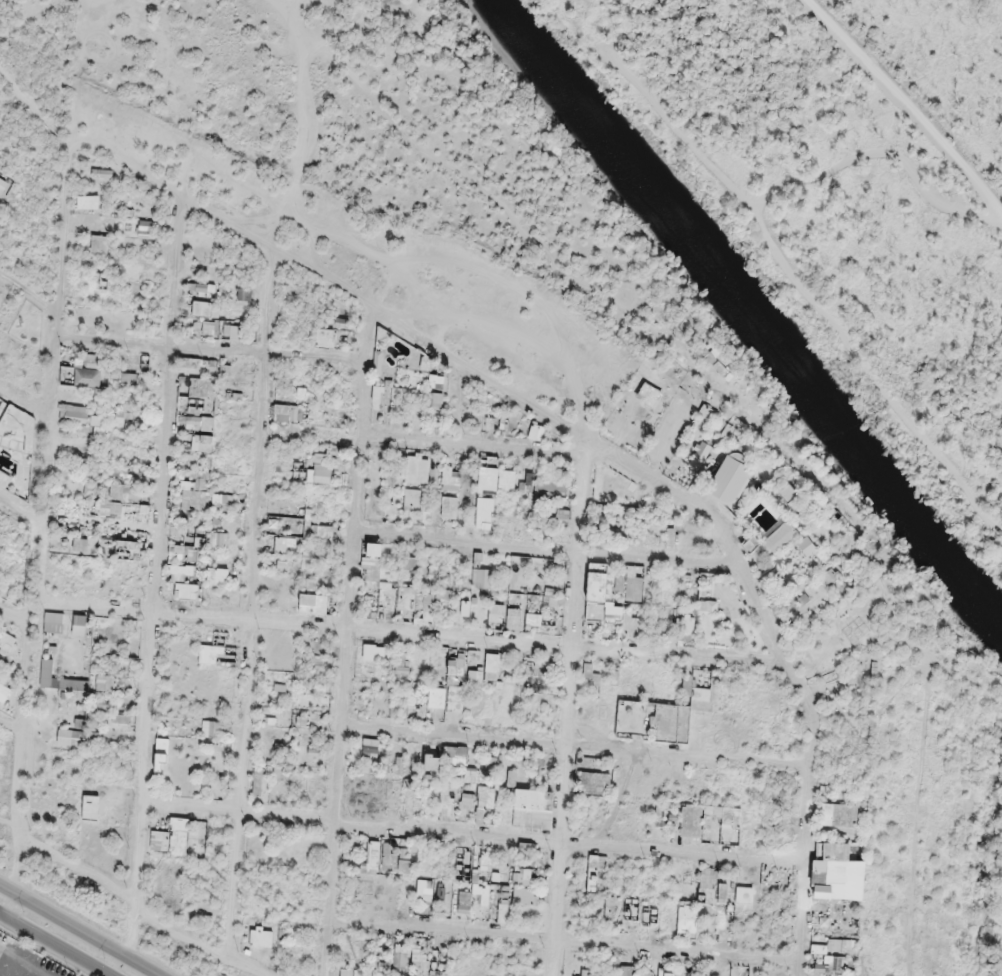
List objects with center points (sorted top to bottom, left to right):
road: (31, 11)
road: (29, 96)
river: (577, 106)
road: (905, 107)
road: (301, 118)
road: (685, 137)
road: (29, 139)
road: (790, 268)
road: (31, 294)
road: (425, 300)
road: (408, 313)
road: (212, 350)
building: (204, 389)
road: (25, 403)
road: (579, 404)
building: (289, 411)
building: (84, 414)
river: (829, 422)
road: (595, 445)
road: (473, 448)
building: (323, 466)
building: (419, 468)
road: (21, 508)
road: (41, 527)
building: (325, 530)
road: (549, 553)
building: (374, 562)
road: (158, 579)
building: (600, 582)
building: (636, 593)
building: (310, 601)
road: (251, 606)
building: (498, 613)
building: (516, 618)
road: (17, 620)
road: (410, 635)
road: (348, 642)
road: (570, 708)
building: (646, 719)
road: (14, 729)
road: (577, 749)
building: (163, 754)
building: (533, 804)
road: (11, 831)
road: (477, 837)
building: (170, 840)
building: (491, 868)
building: (523, 877)
road: (142, 910)
road: (78, 931)
road: (568, 943)
road: (53, 945)
parking lot: (6, 946)
road: (3, 951)

